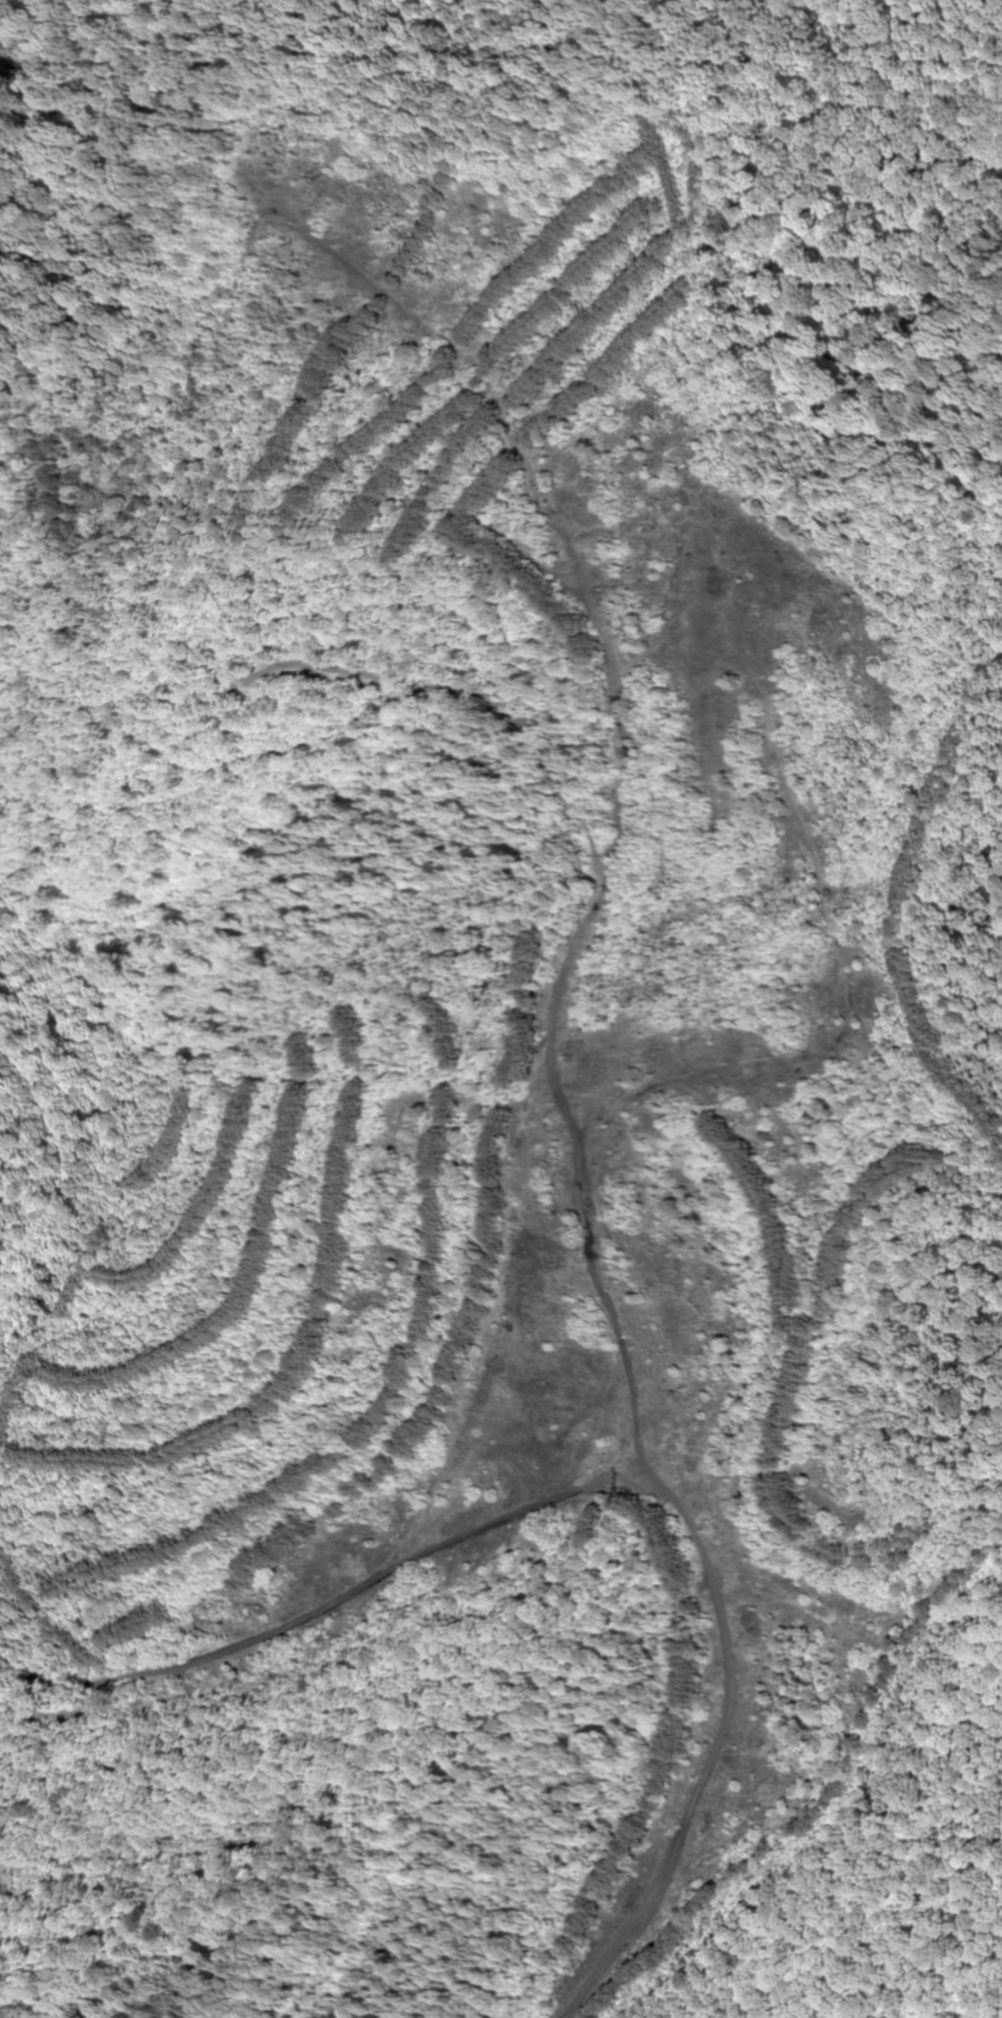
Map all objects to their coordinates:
road: (591, 1446)

